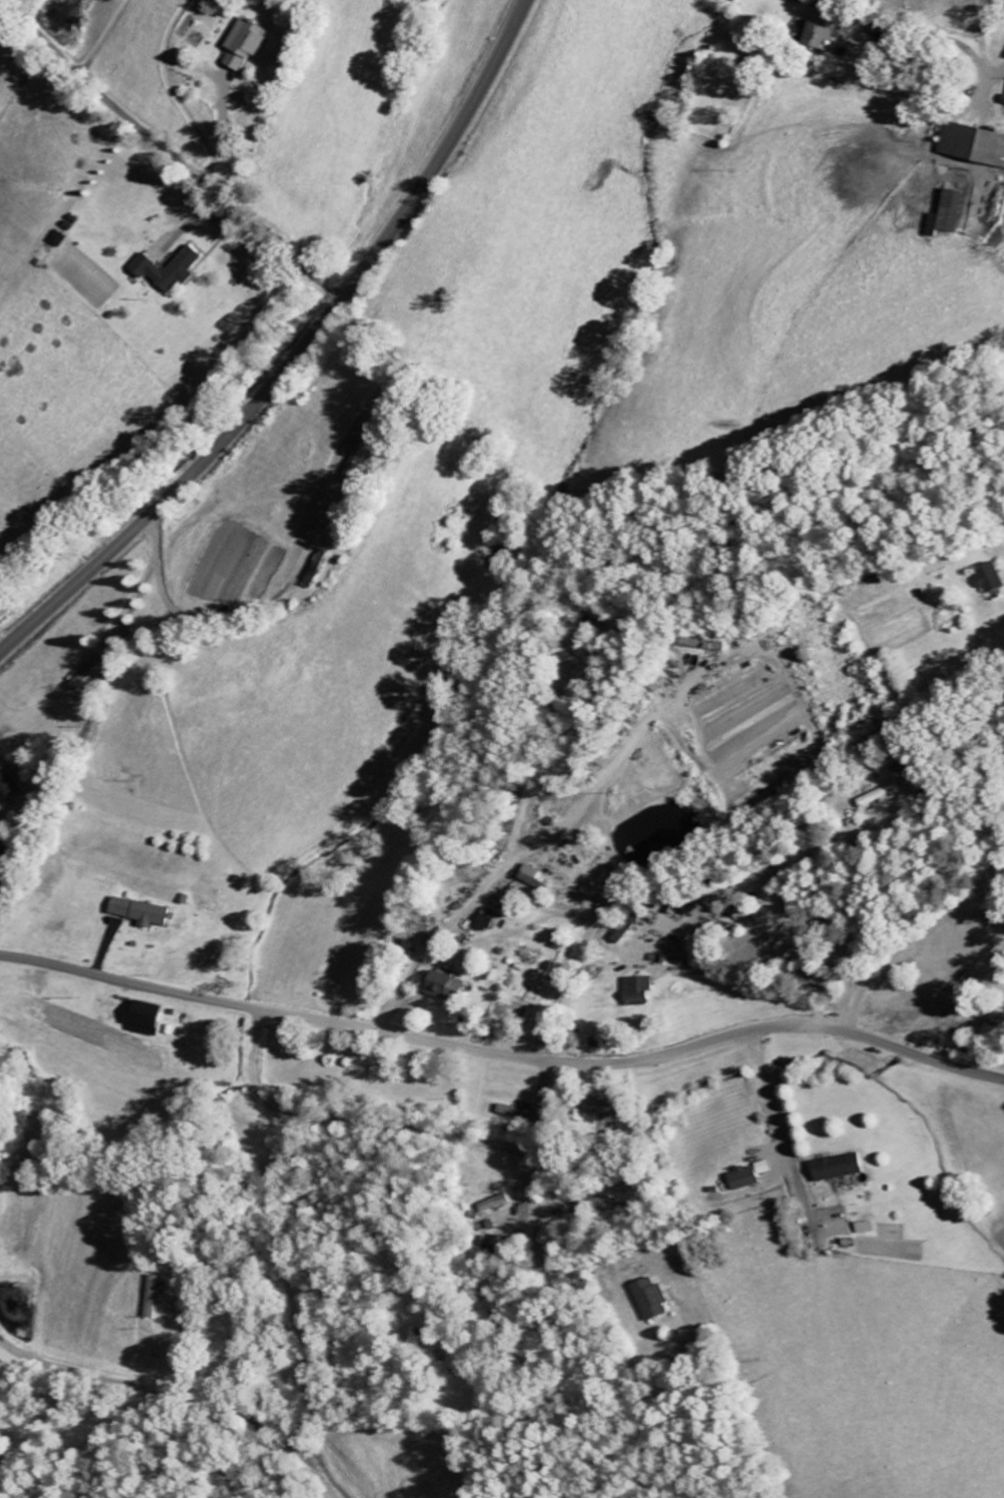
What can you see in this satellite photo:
road: (893, 21)
building: (810, 36)
building: (247, 43)
building: (1001, 101)
building: (970, 146)
road: (171, 152)
building: (942, 215)
building: (174, 270)
road: (297, 354)
building: (356, 476)
building: (988, 578)
road: (139, 586)
road: (241, 608)
building: (702, 644)
building: (11, 783)
building: (880, 795)
road: (727, 821)
building: (1, 845)
building: (530, 878)
building: (145, 913)
building: (484, 920)
road: (855, 927)
building: (442, 985)
building: (636, 991)
building: (152, 1020)
road: (502, 1054)
building: (512, 1111)
road: (778, 1124)
road: (511, 1142)
building: (835, 1168)
building: (741, 1178)
building: (493, 1203)
building: (149, 1297)
building: (650, 1299)
road: (131, 1380)

